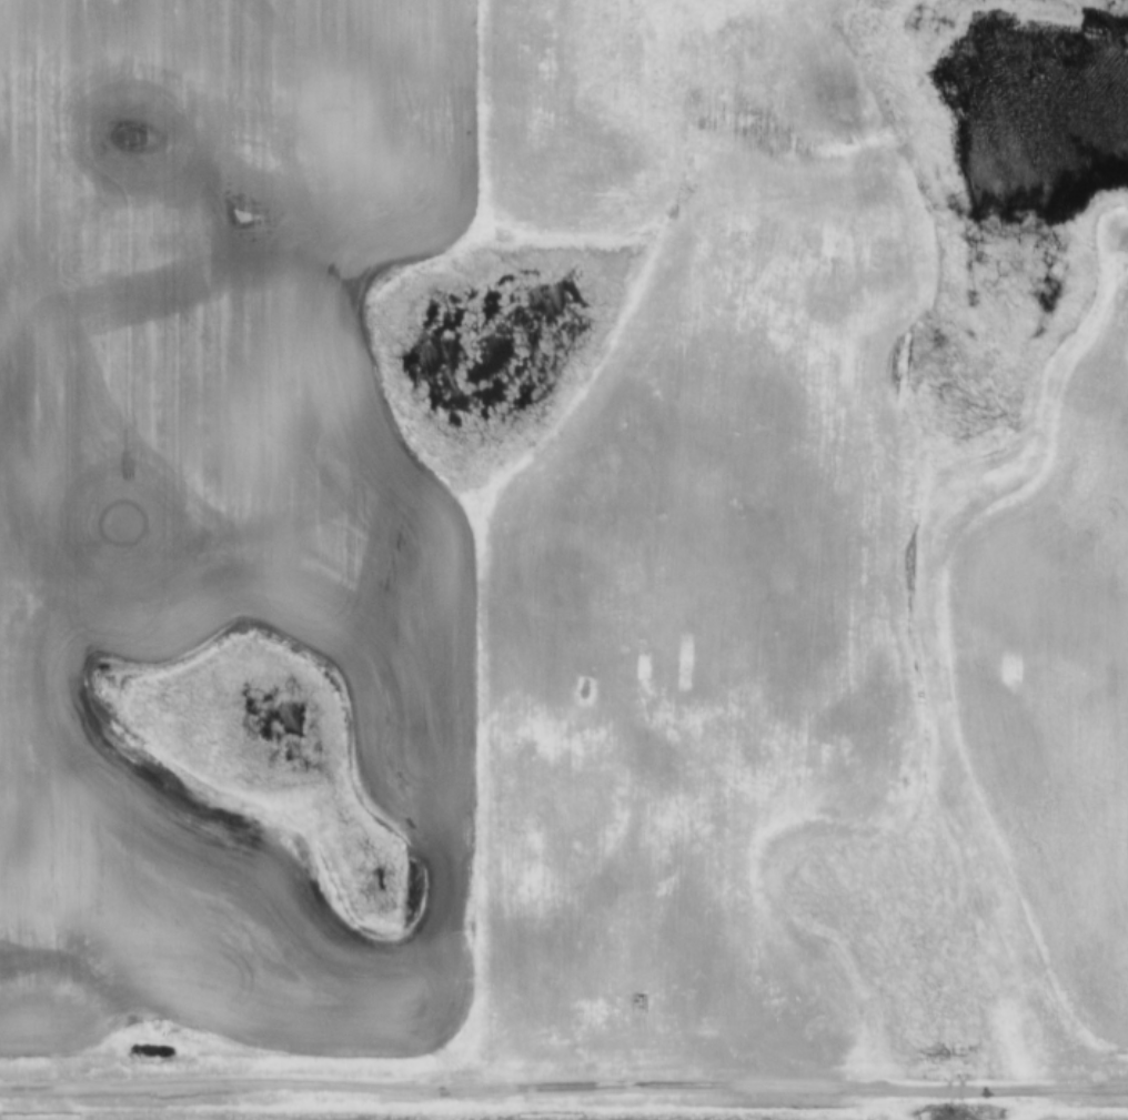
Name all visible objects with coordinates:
road: (564, 1087)

